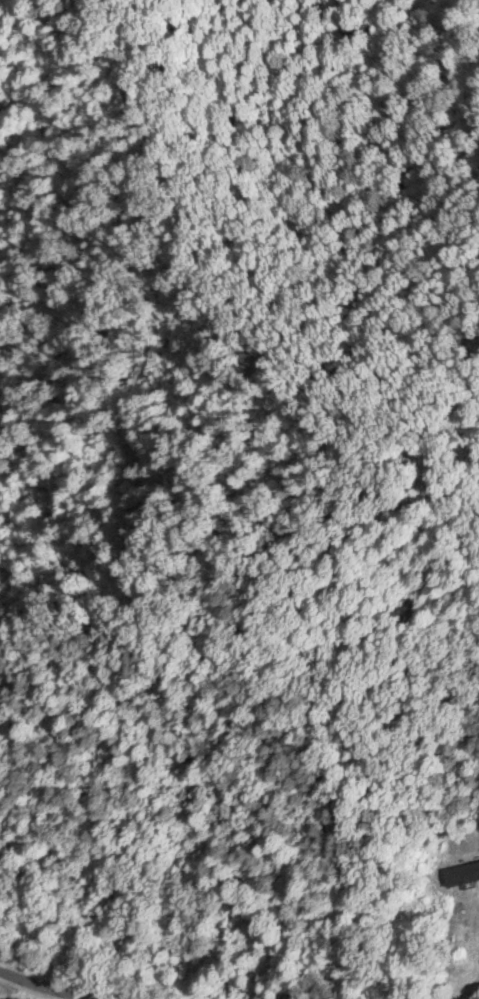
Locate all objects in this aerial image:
road: (219, 716)
building: (461, 869)
road: (32, 984)

